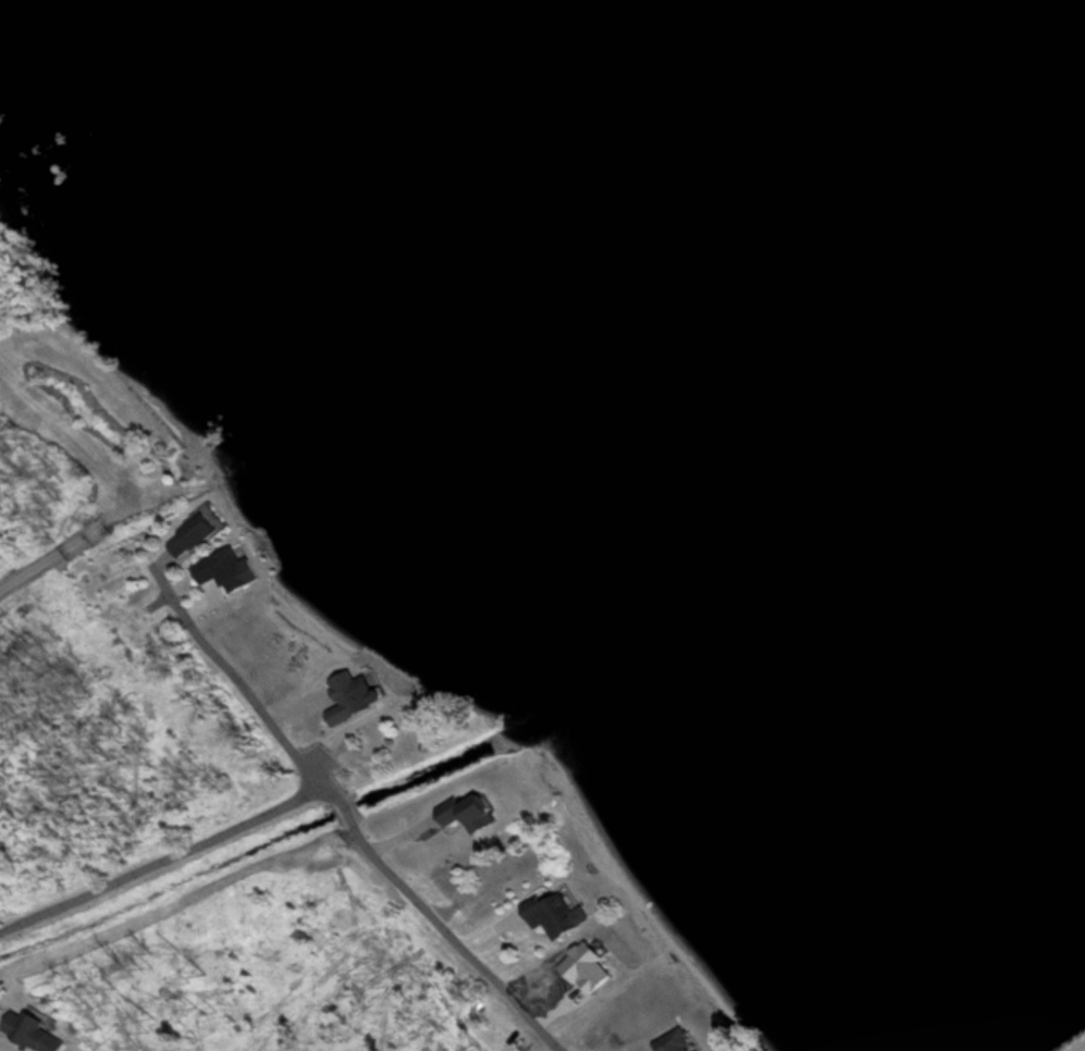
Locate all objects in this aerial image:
road: (242, 680)
building: (367, 694)
building: (484, 809)
road: (366, 836)
road: (103, 855)
road: (58, 904)
building: (556, 913)
building: (585, 968)
building: (676, 1041)

